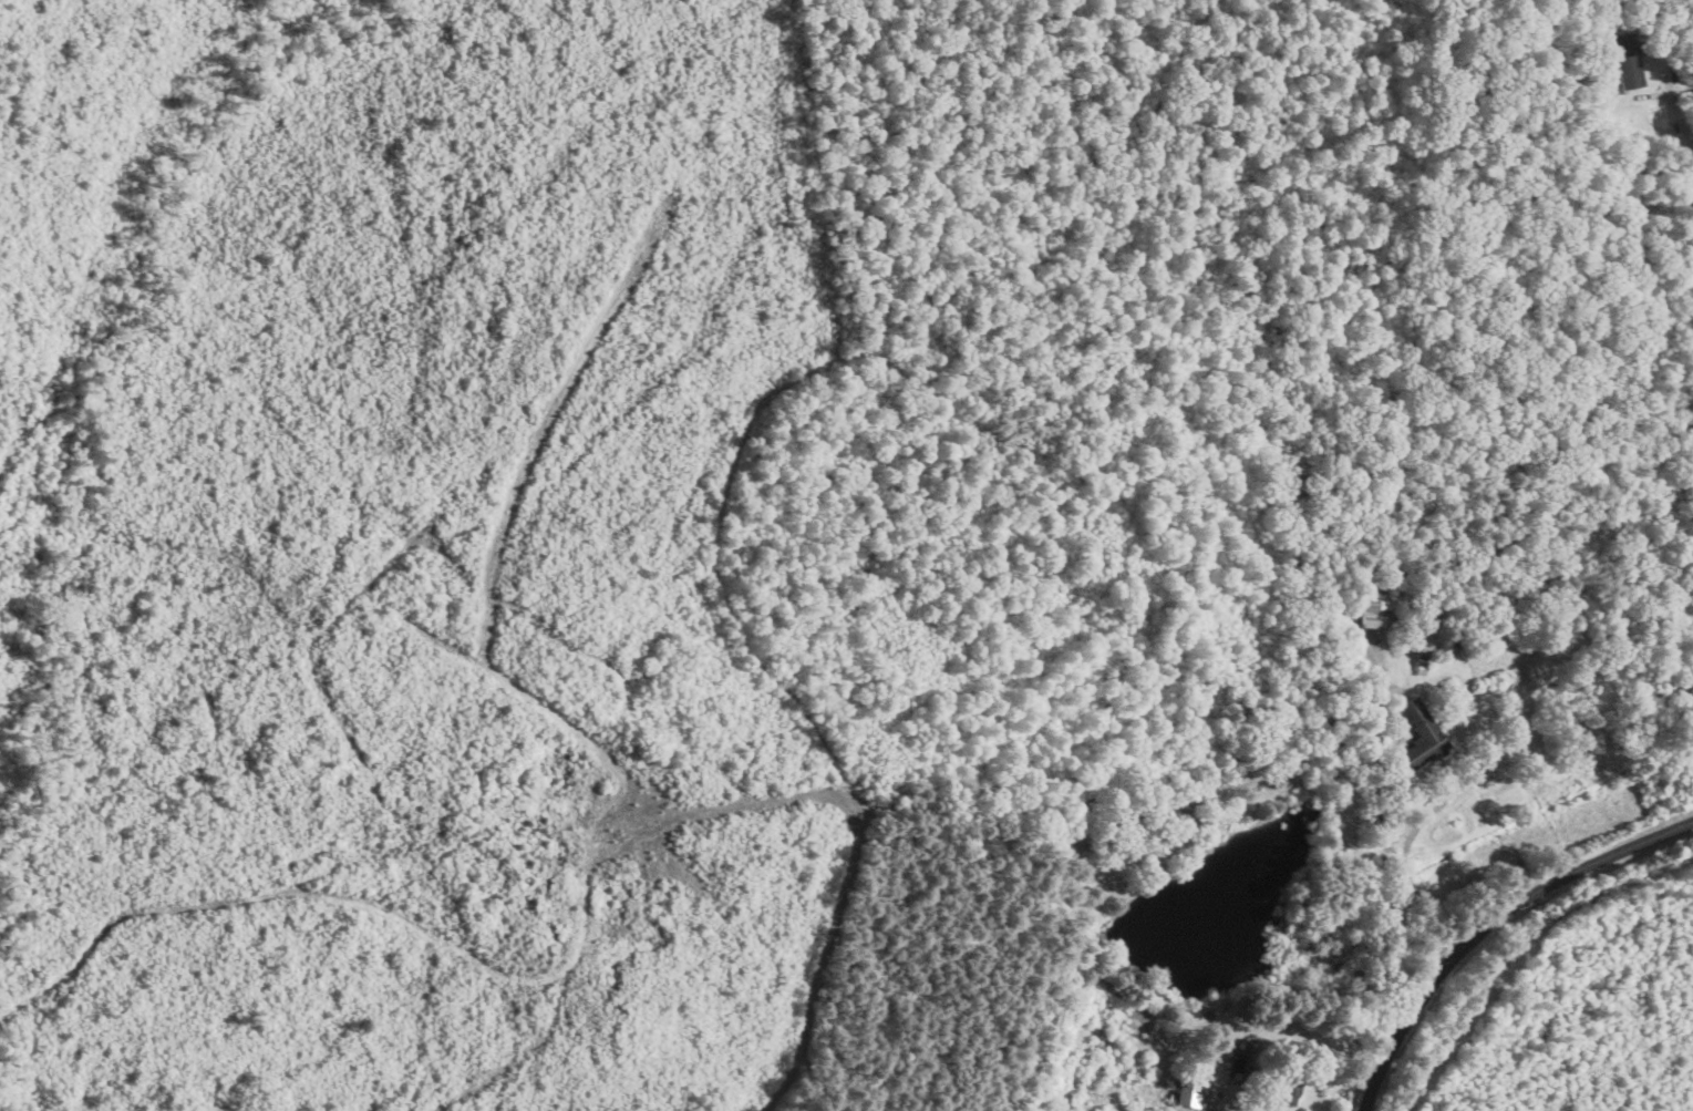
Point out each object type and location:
road: (1684, 90)
building: (1375, 619)
road: (1366, 738)
building: (1424, 741)
road: (1386, 842)
road: (1489, 925)

